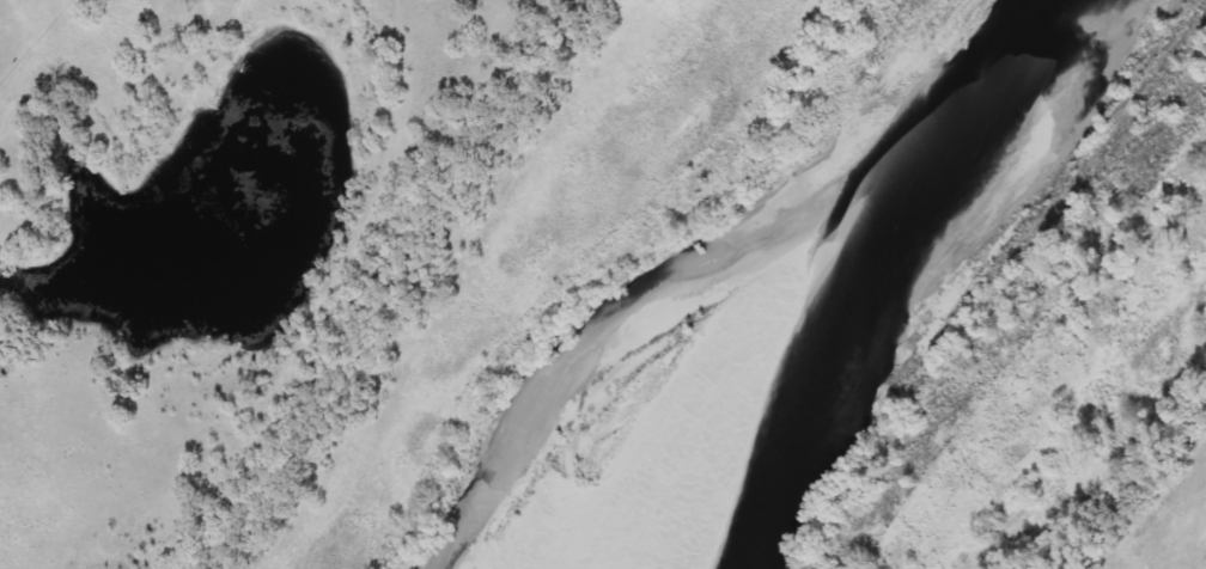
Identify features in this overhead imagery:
river: (871, 270)

